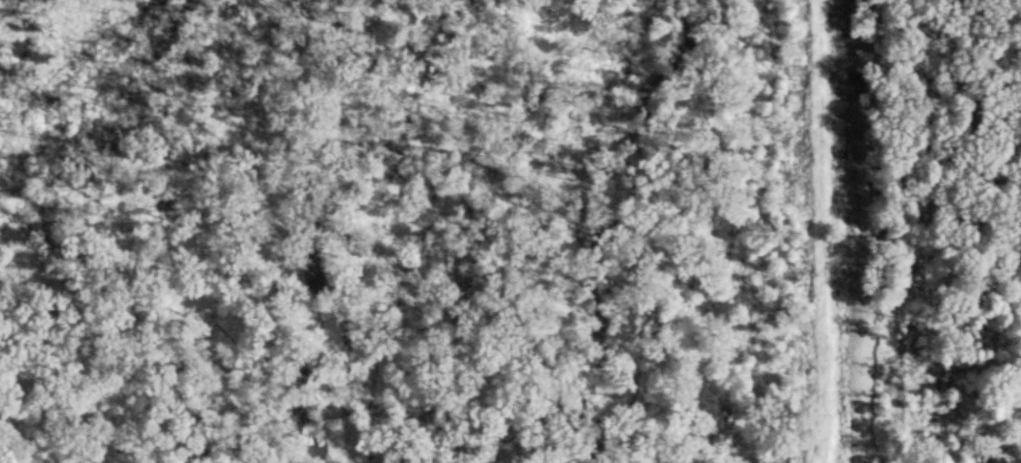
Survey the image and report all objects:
road: (815, 231)

